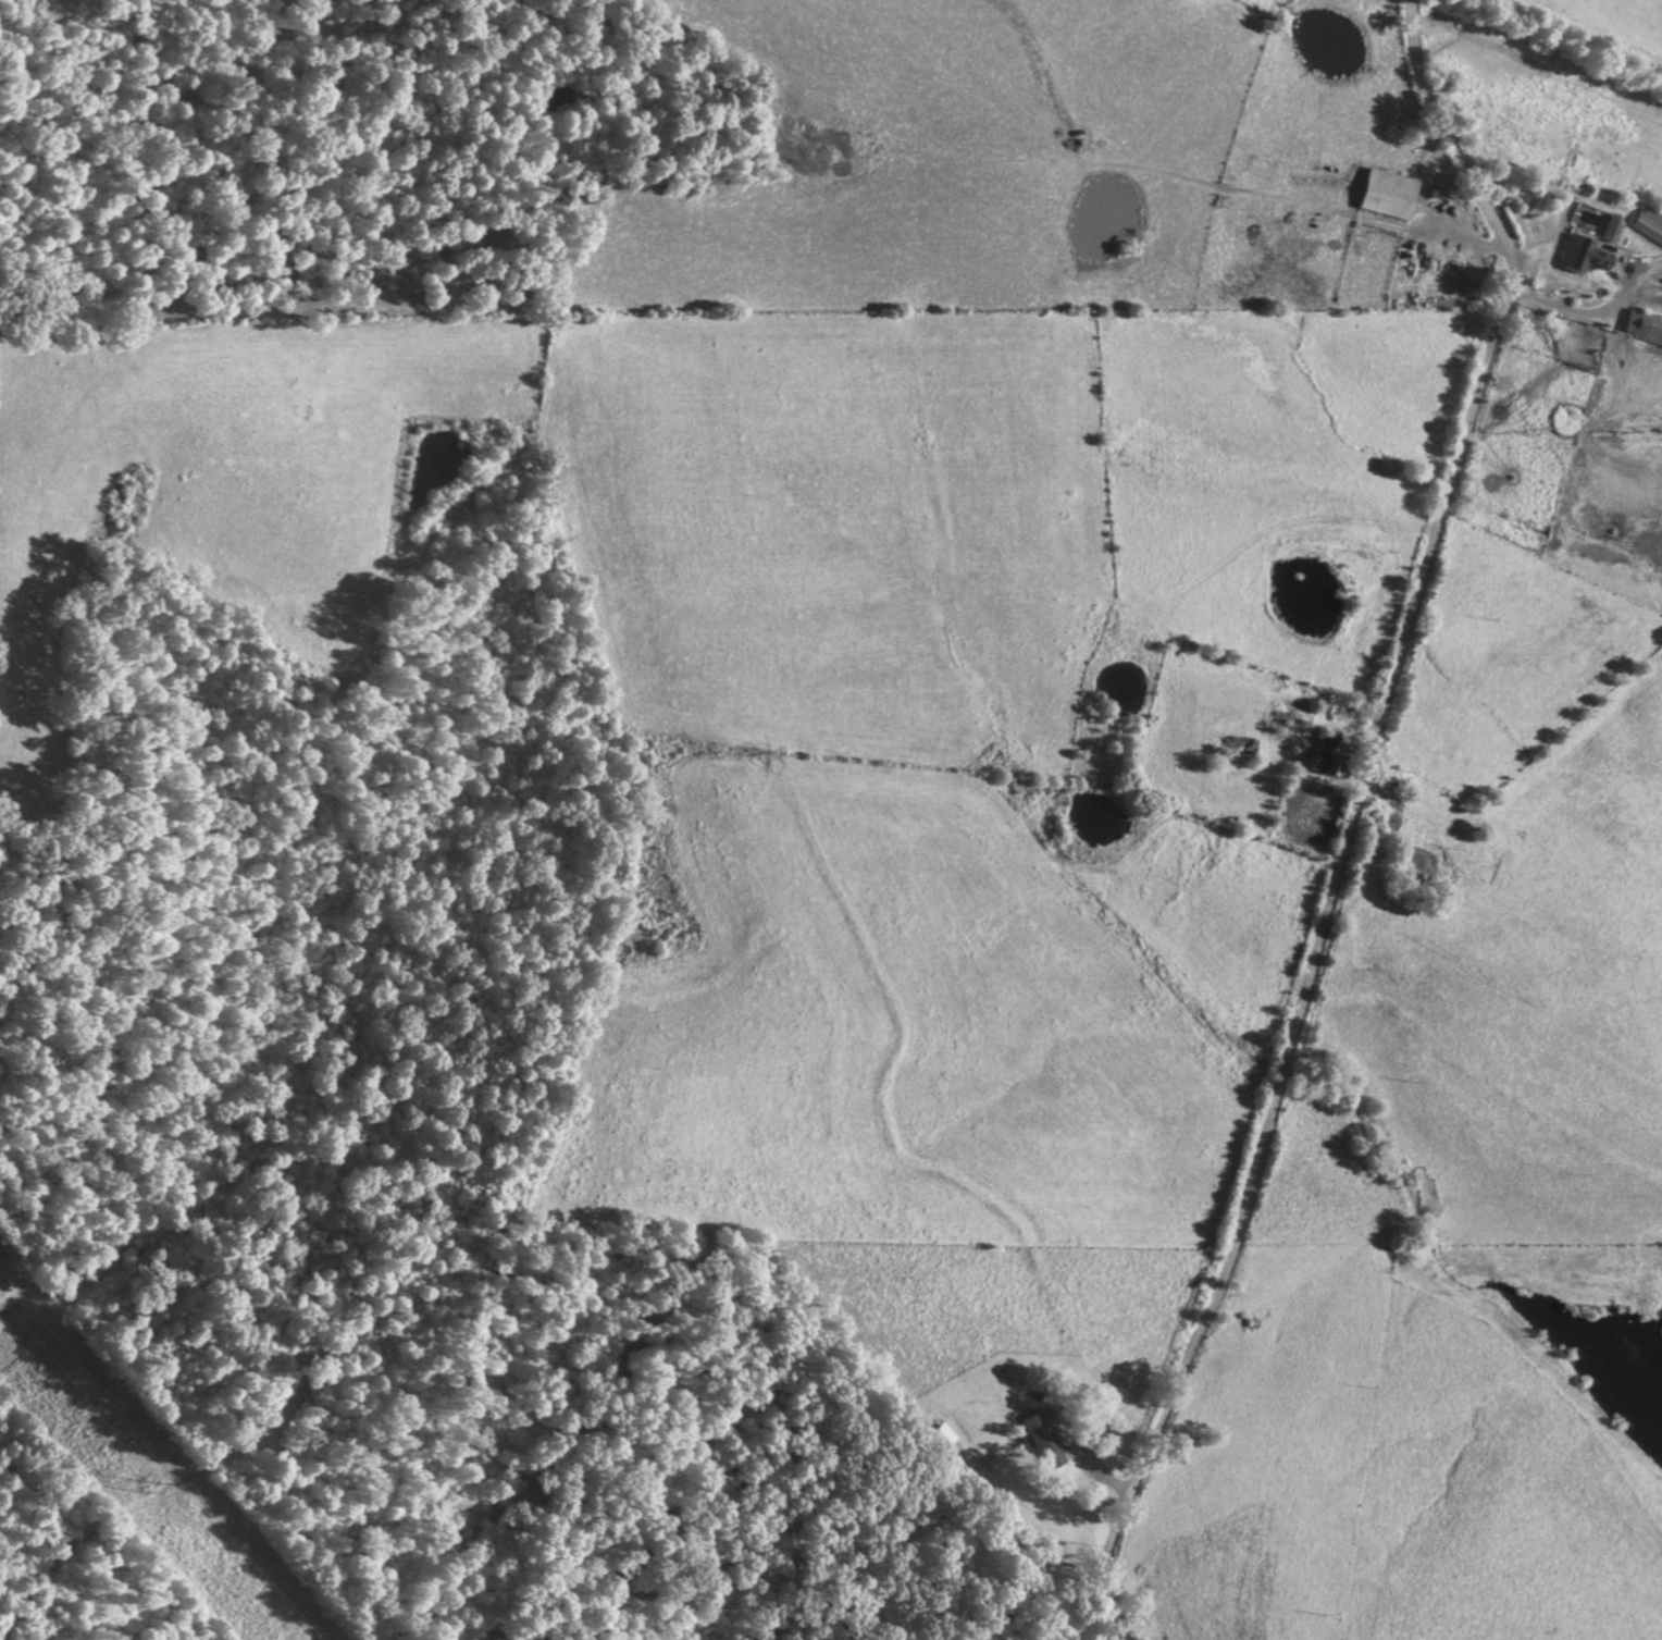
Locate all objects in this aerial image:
building: (1385, 193)
building: (1649, 221)
building: (1579, 254)
building: (1642, 325)
building: (1126, 622)
building: (1287, 724)
building: (1239, 748)
road: (1352, 814)
building: (1374, 822)
building: (1487, 863)
building: (945, 1434)
building: (1044, 1436)
power tower: (151, 1482)

